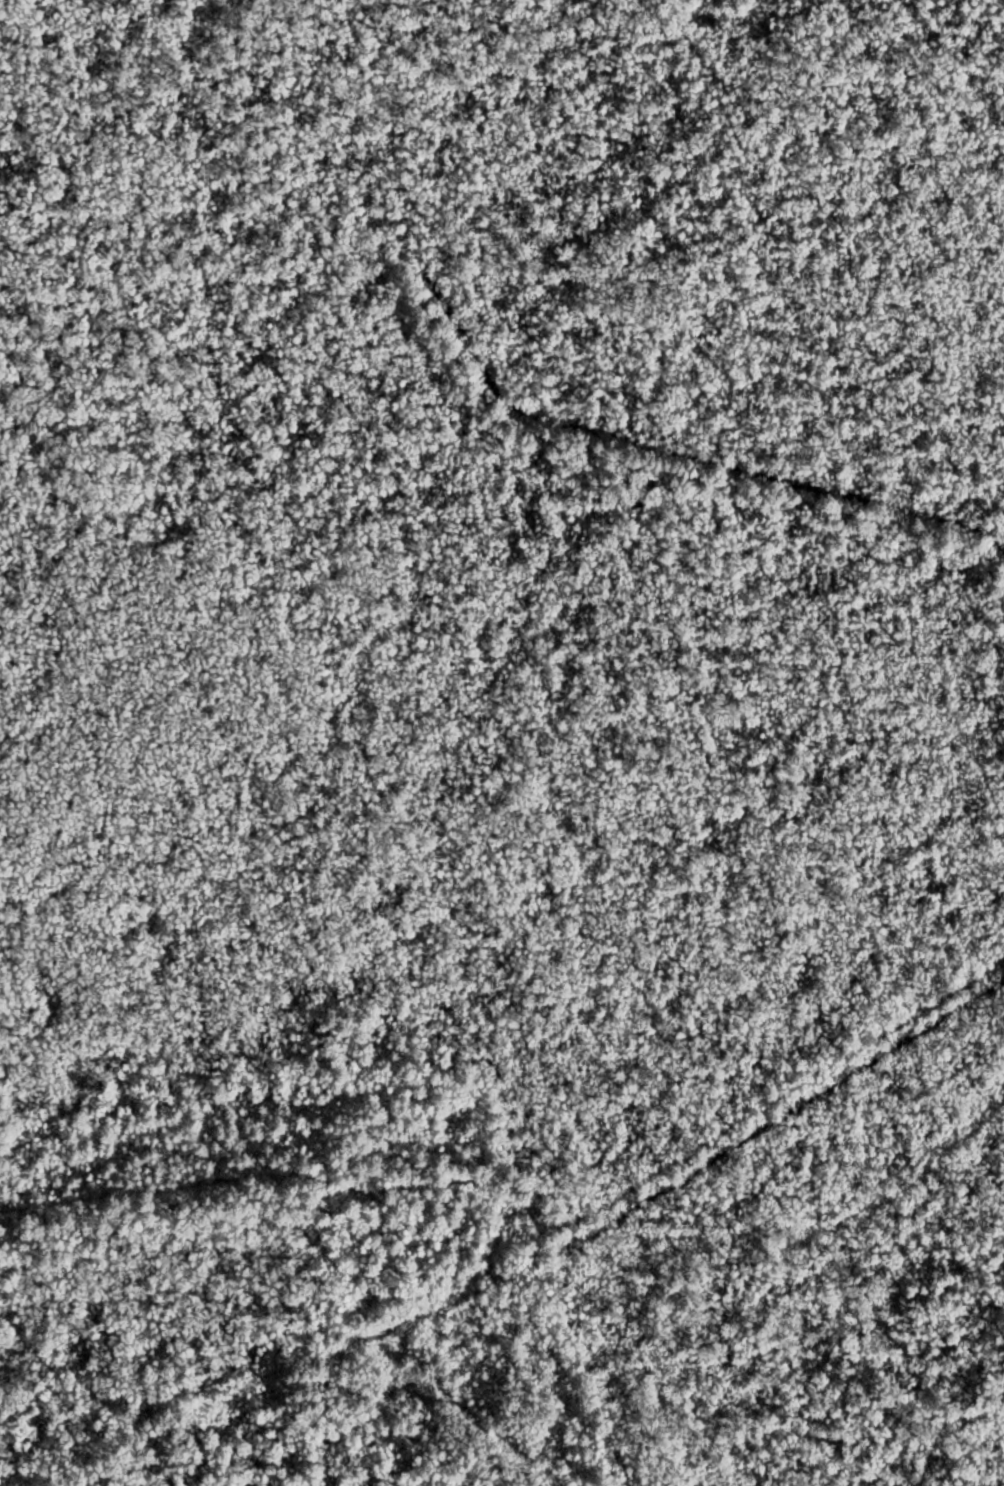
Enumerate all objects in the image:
road: (399, 1145)

